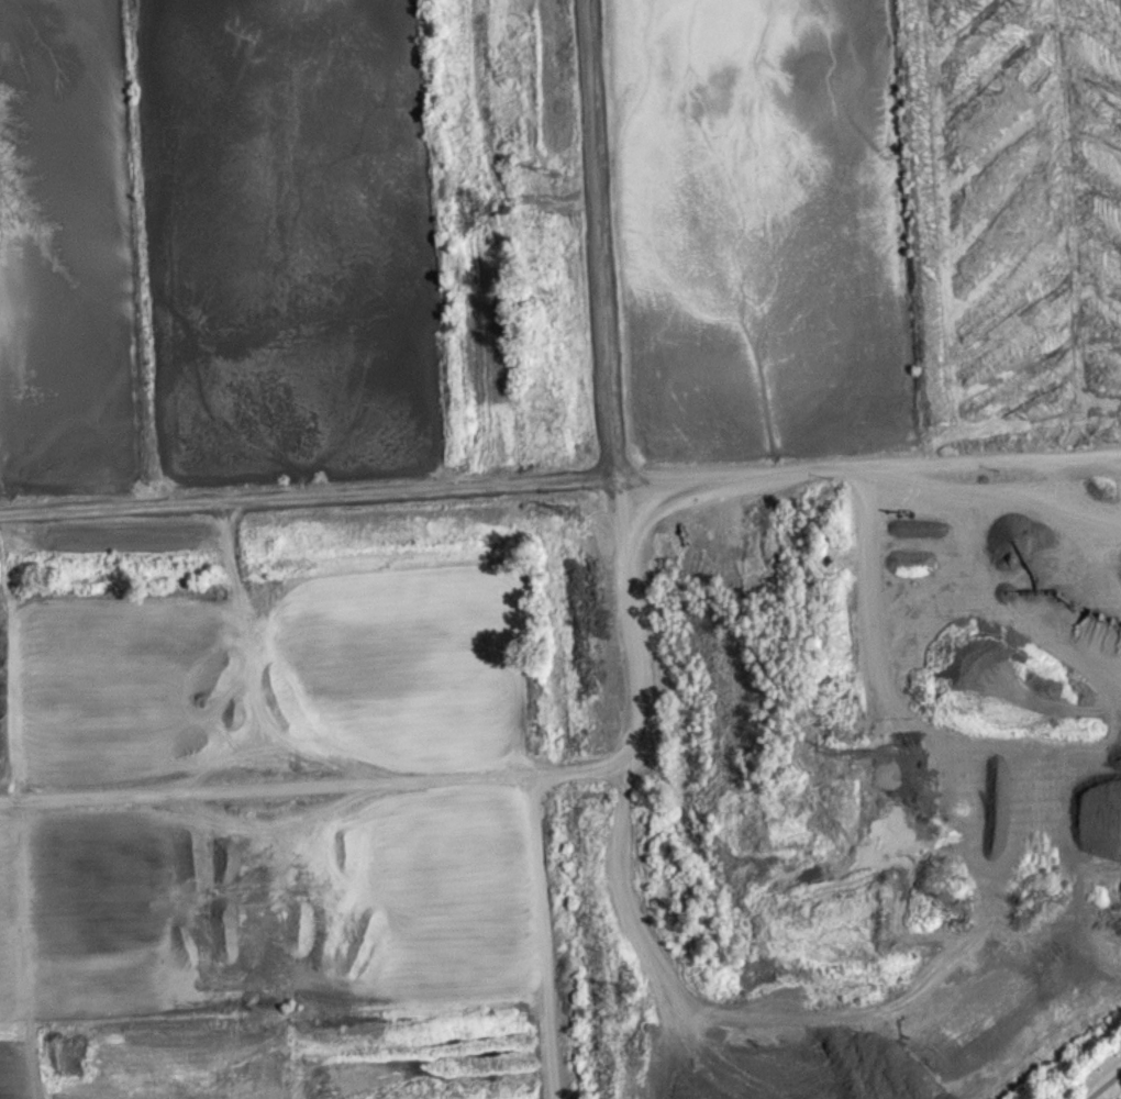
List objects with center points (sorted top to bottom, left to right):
power tower: (554, 175)
road: (559, 481)
power tower: (573, 517)
road: (642, 695)
road: (537, 935)
power tower: (631, 992)
road: (1103, 1084)

